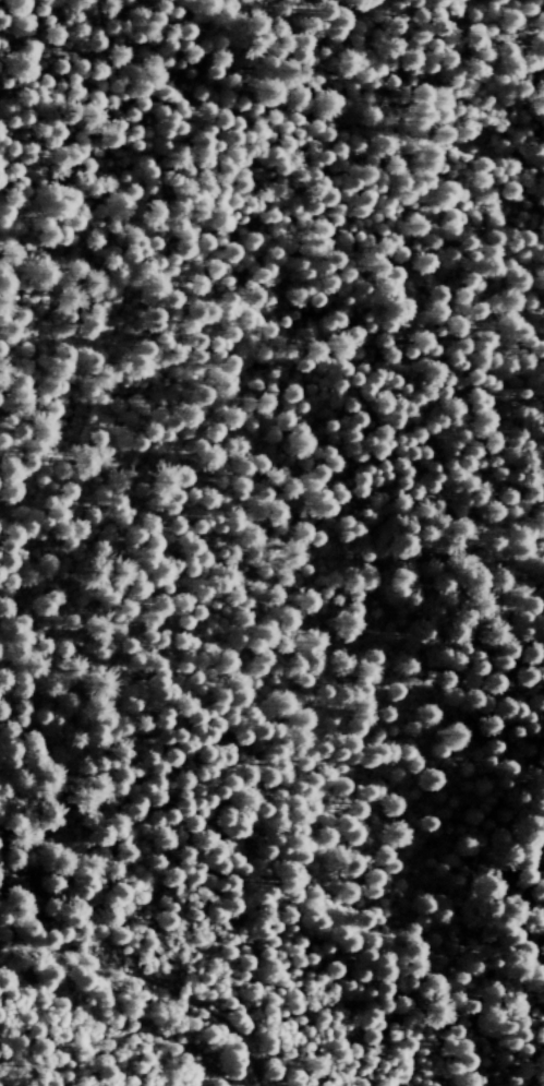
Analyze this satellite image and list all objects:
road: (271, 70)
road: (146, 982)
road: (328, 1031)

